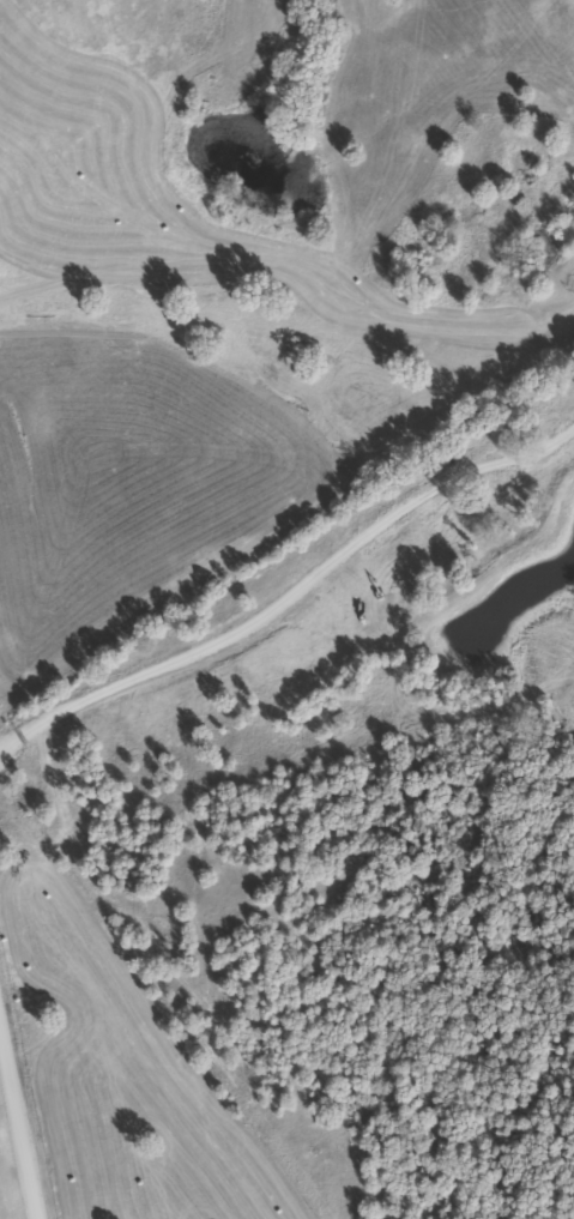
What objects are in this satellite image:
road: (321, 656)
road: (6, 1189)

